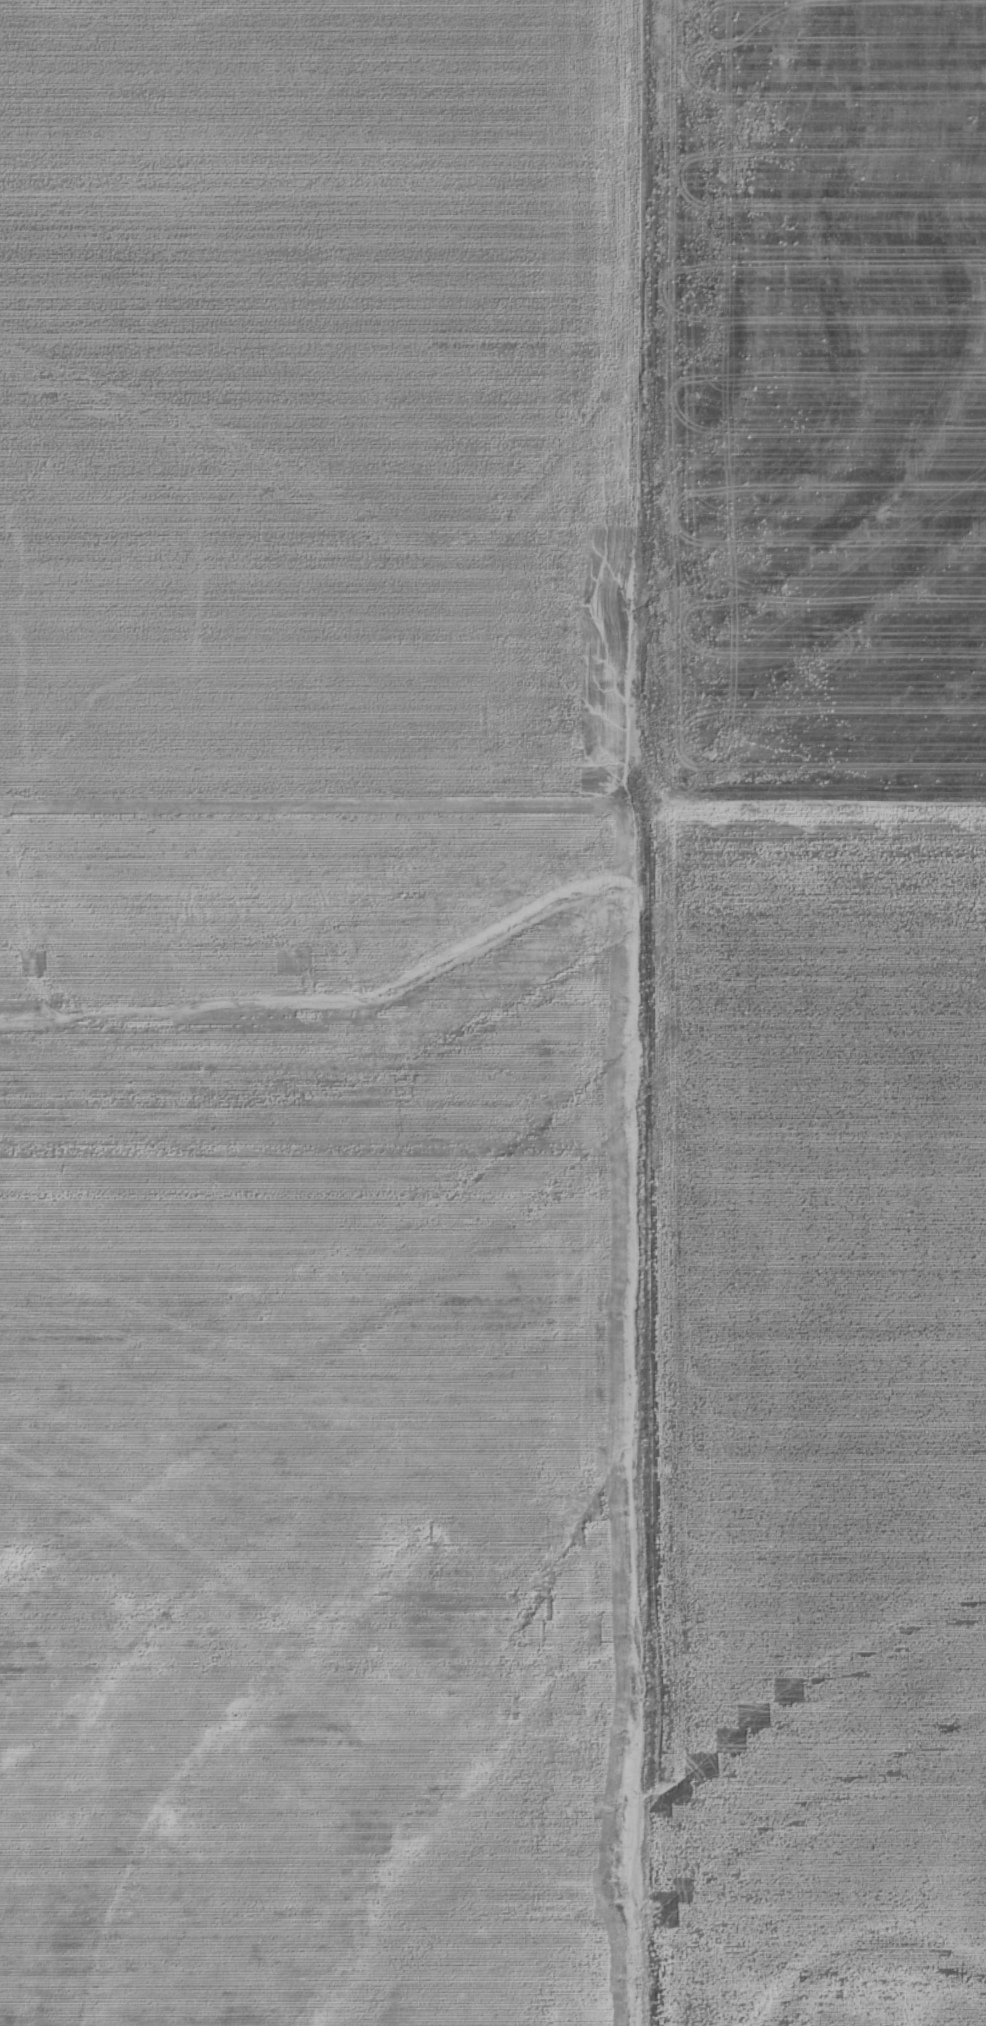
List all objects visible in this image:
road: (811, 160)

